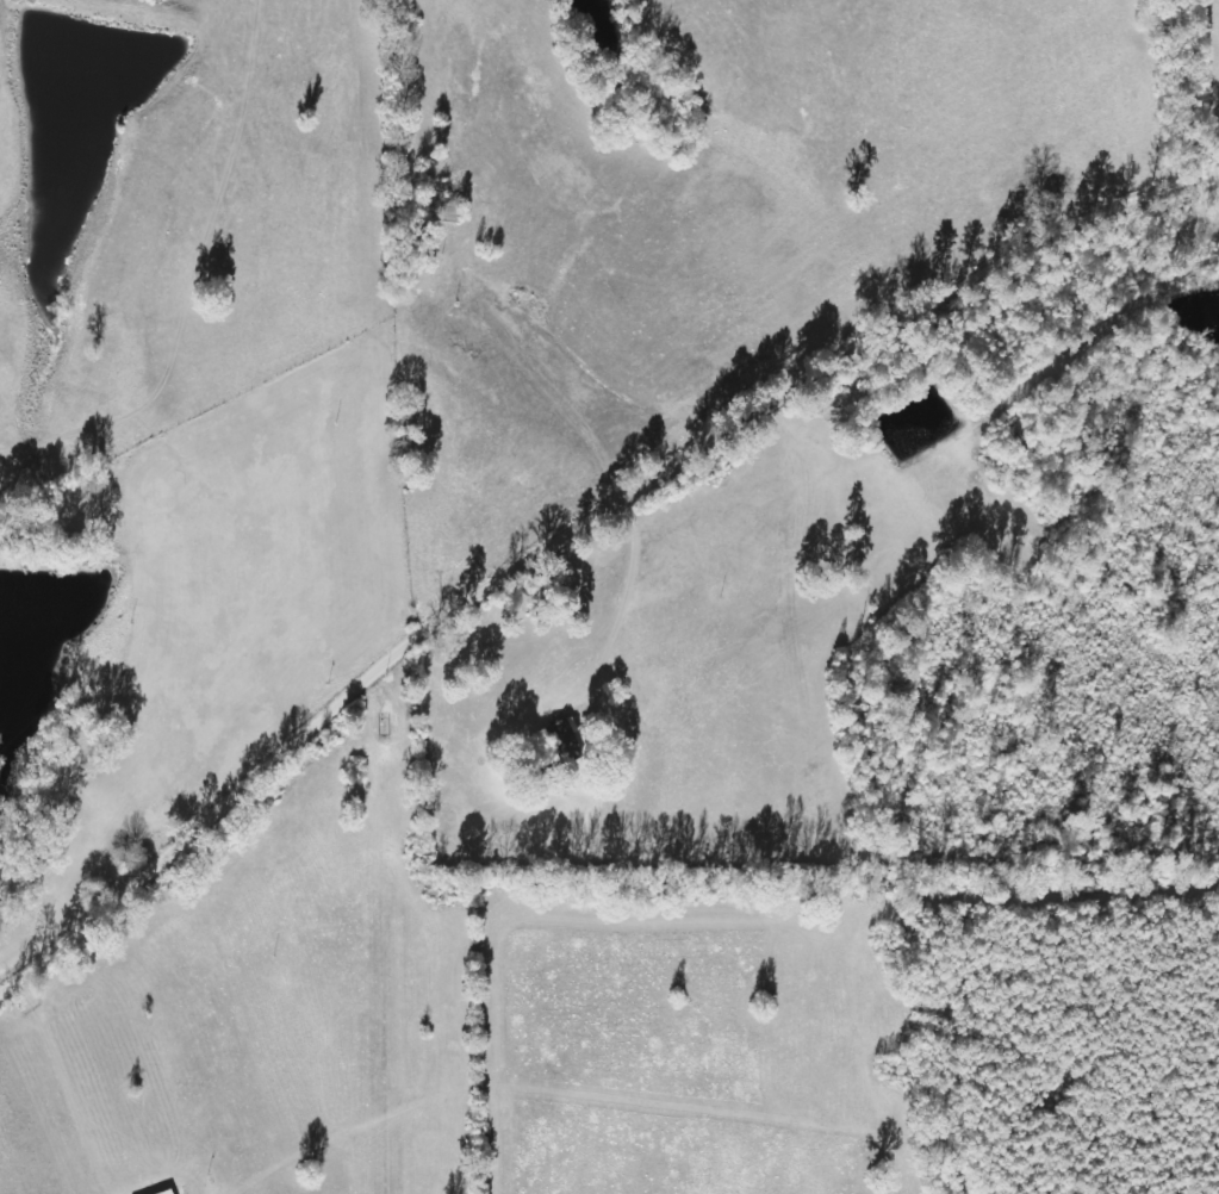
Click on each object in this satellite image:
road: (576, 543)

